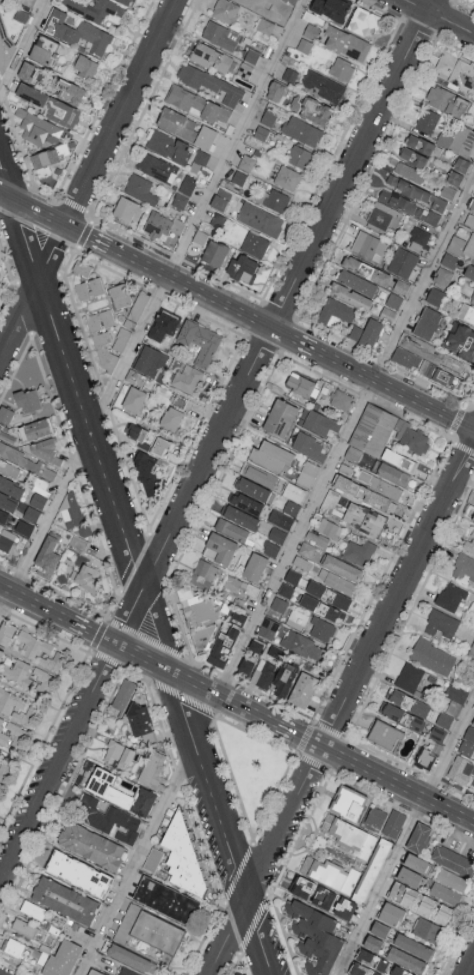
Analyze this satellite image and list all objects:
building: (128, 1)
building: (2, 3)
building: (94, 8)
building: (331, 8)
building: (225, 10)
road: (439, 16)
building: (364, 21)
building: (265, 25)
building: (76, 31)
building: (221, 34)
building: (346, 43)
building: (304, 45)
road: (23, 47)
building: (5, 49)
building: (44, 49)
building: (252, 55)
building: (211, 56)
building: (85, 65)
building: (342, 68)
building: (456, 68)
building: (29, 71)
building: (290, 74)
building: (210, 82)
building: (323, 86)
building: (69, 89)
building: (275, 90)
building: (30, 94)
building: (446, 100)
building: (197, 104)
building: (310, 108)
building: (62, 113)
building: (268, 117)
building: (427, 120)
building: (177, 122)
building: (301, 130)
building: (39, 132)
building: (260, 132)
building: (204, 136)
building: (457, 138)
building: (421, 144)
building: (168, 145)
building: (299, 155)
building: (414, 157)
building: (199, 159)
building: (247, 162)
building: (45, 163)
building: (461, 163)
building: (156, 167)
building: (409, 171)
building: (238, 177)
building: (287, 177)
building: (454, 177)
road: (89, 179)
road: (4, 185)
building: (408, 187)
building: (140, 188)
building: (184, 191)
building: (448, 191)
road: (4, 196)
building: (473, 196)
building: (220, 199)
building: (273, 199)
building: (439, 203)
building: (407, 205)
building: (472, 206)
building: (127, 208)
road: (38, 212)
building: (383, 216)
building: (260, 219)
building: (469, 219)
building: (163, 227)
road: (88, 235)
building: (200, 236)
building: (418, 238)
building: (255, 244)
building: (456, 244)
building: (369, 245)
building: (469, 247)
building: (214, 252)
building: (449, 259)
building: (402, 261)
building: (241, 267)
building: (366, 269)
building: (82, 270)
building: (469, 271)
building: (442, 276)
building: (357, 282)
road: (190, 286)
building: (401, 286)
building: (81, 289)
building: (350, 295)
road: (157, 296)
building: (435, 296)
building: (121, 297)
building: (473, 297)
building: (394, 300)
building: (138, 307)
building: (336, 311)
building: (387, 313)
building: (466, 313)
building: (121, 319)
building: (427, 322)
building: (163, 324)
building: (130, 326)
building: (366, 332)
road: (293, 338)
building: (122, 339)
building: (102, 340)
building: (200, 340)
building: (408, 351)
building: (149, 360)
building: (452, 363)
building: (439, 374)
building: (135, 377)
building: (188, 378)
building: (299, 383)
road: (394, 388)
building: (342, 399)
building: (180, 400)
building: (28, 401)
building: (136, 401)
building: (6, 416)
building: (280, 417)
building: (173, 420)
building: (320, 422)
building: (0, 428)
building: (373, 429)
building: (35, 431)
building: (137, 433)
road: (346, 435)
building: (411, 437)
building: (7, 438)
road: (215, 438)
building: (309, 445)
building: (162, 448)
building: (47, 452)
building: (353, 453)
building: (13, 455)
building: (272, 456)
building: (399, 459)
building: (6, 466)
building: (44, 472)
building: (144, 472)
building: (308, 473)
building: (258, 474)
building: (393, 474)
building: (379, 484)
building: (11, 486)
building: (41, 486)
building: (252, 488)
building: (293, 492)
building: (365, 493)
building: (38, 500)
building: (7, 502)
building: (245, 502)
building: (291, 507)
building: (31, 513)
building: (4, 516)
building: (76, 517)
building: (241, 517)
building: (473, 518)
building: (280, 519)
building: (364, 519)
building: (24, 527)
building: (329, 528)
building: (231, 529)
building: (277, 534)
building: (317, 537)
building: (7, 539)
building: (469, 544)
building: (219, 547)
building: (270, 548)
building: (306, 549)
building: (359, 552)
building: (46, 557)
building: (302, 562)
building: (255, 566)
building: (342, 567)
building: (464, 568)
building: (204, 573)
building: (293, 576)
building: (88, 579)
building: (337, 581)
building: (240, 586)
road: (138, 587)
building: (286, 590)
building: (328, 594)
building: (451, 596)
road: (5, 603)
road: (34, 603)
building: (278, 607)
building: (321, 608)
building: (198, 616)
building: (238, 617)
building: (442, 624)
building: (268, 628)
building: (321, 629)
road: (92, 631)
building: (5, 632)
building: (33, 644)
building: (255, 645)
building: (303, 645)
building: (222, 647)
building: (472, 649)
building: (1, 653)
building: (433, 656)
building: (50, 661)
building: (245, 666)
building: (26, 674)
building: (409, 676)
building: (274, 677)
road: (195, 683)
building: (303, 691)
building: (455, 698)
building: (121, 699)
building: (407, 701)
building: (14, 707)
road: (341, 707)
building: (403, 717)
building: (444, 719)
building: (139, 720)
building: (473, 723)
building: (1, 725)
building: (16, 732)
building: (437, 733)
road: (300, 734)
building: (386, 736)
building: (468, 742)
building: (118, 754)
building: (427, 756)
building: (3, 768)
park: (246, 772)
building: (459, 773)
building: (153, 774)
building: (0, 782)
road: (398, 783)
building: (143, 802)
building: (349, 804)
building: (107, 818)
building: (376, 819)
building: (393, 825)
road: (404, 836)
building: (420, 838)
building: (91, 845)
building: (183, 858)
building: (153, 859)
building: (372, 859)
road: (137, 860)
building: (452, 861)
building: (417, 865)
building: (78, 873)
building: (410, 879)
building: (452, 880)
building: (313, 893)
building: (402, 894)
building: (445, 895)
building: (64, 900)
building: (166, 900)
building: (32, 909)
building: (434, 910)
building: (391, 914)
building: (379, 929)
building: (427, 929)
building: (27, 930)
building: (158, 933)
building: (314, 937)
building: (372, 943)
building: (413, 946)
building: (16, 948)
building: (61, 959)
building: (131, 959)
building: (406, 960)
building: (373, 961)
road: (470, 967)
building: (364, 971)
building: (399, 971)
building: (126, 972)
building: (95, 973)

